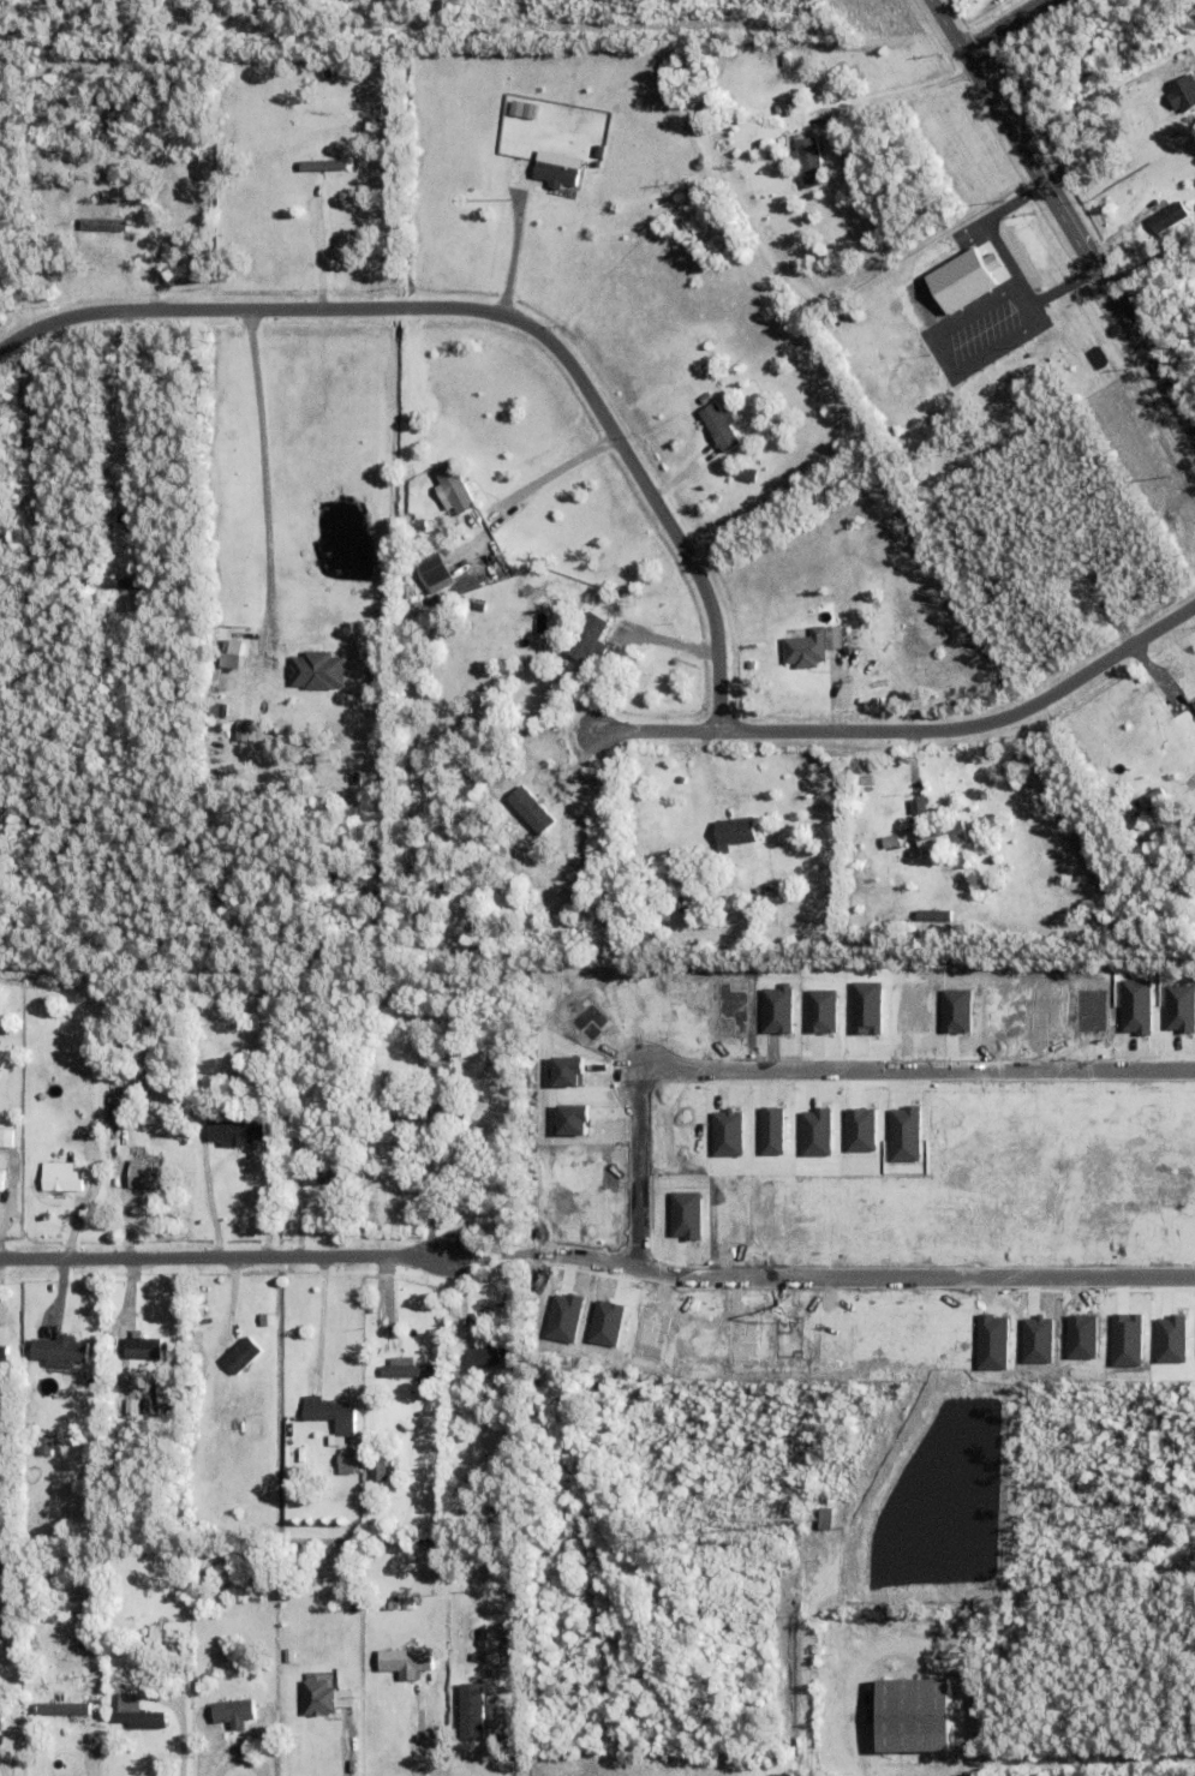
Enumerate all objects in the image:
road: (1005, 26)
building: (1183, 92)
road: (897, 94)
building: (521, 108)
road: (1091, 108)
building: (599, 150)
building: (809, 161)
building: (323, 165)
building: (556, 171)
building: (1167, 215)
road: (1063, 217)
building: (103, 225)
road: (319, 251)
road: (513, 256)
building: (1160, 259)
building: (963, 277)
road: (495, 317)
building: (706, 397)
building: (721, 425)
road: (129, 432)
road: (264, 470)
building: (746, 473)
road: (558, 474)
building: (456, 489)
building: (478, 520)
building: (422, 525)
building: (432, 569)
building: (125, 584)
building: (626, 597)
building: (628, 627)
building: (238, 634)
building: (588, 639)
building: (322, 641)
building: (806, 650)
building: (316, 670)
building: (376, 670)
building: (1194, 705)
building: (241, 730)
road: (904, 740)
building: (530, 809)
building: (920, 821)
building: (736, 832)
building: (942, 836)
building: (689, 839)
building: (891, 842)
building: (933, 915)
building: (862, 920)
building: (376, 1023)
building: (437, 1058)
road: (824, 1071)
building: (406, 1110)
building: (449, 1112)
building: (118, 1114)
building: (932, 1116)
building: (235, 1126)
building: (6, 1135)
building: (507, 1165)
building: (144, 1177)
building: (926, 1177)
building: (61, 1178)
building: (1, 1180)
building: (328, 1182)
road: (431, 1198)
road: (234, 1256)
road: (871, 1275)
building: (509, 1298)
road: (322, 1317)
building: (1, 1349)
building: (143, 1350)
building: (60, 1352)
building: (239, 1355)
building: (479, 1359)
building: (407, 1370)
building: (2, 1374)
building: (399, 1388)
building: (168, 1393)
building: (329, 1416)
building: (44, 1447)
building: (346, 1463)
building: (377, 1471)
building: (825, 1520)
building: (394, 1604)
building: (940, 1604)
building: (970, 1625)
building: (900, 1626)
building: (155, 1638)
building: (137, 1643)
building: (227, 1656)
building: (289, 1657)
building: (406, 1663)
building: (919, 1670)
building: (64, 1686)
building: (974, 1687)
building: (418, 1697)
building: (318, 1700)
building: (60, 1708)
building: (470, 1710)
building: (62, 1711)
building: (135, 1716)
building: (233, 1717)
building: (1, 1721)
building: (914, 1723)
building: (231, 1738)
road: (341, 1750)
building: (49, 1752)
road: (102, 1752)
building: (836, 1762)
building: (49, 1765)

